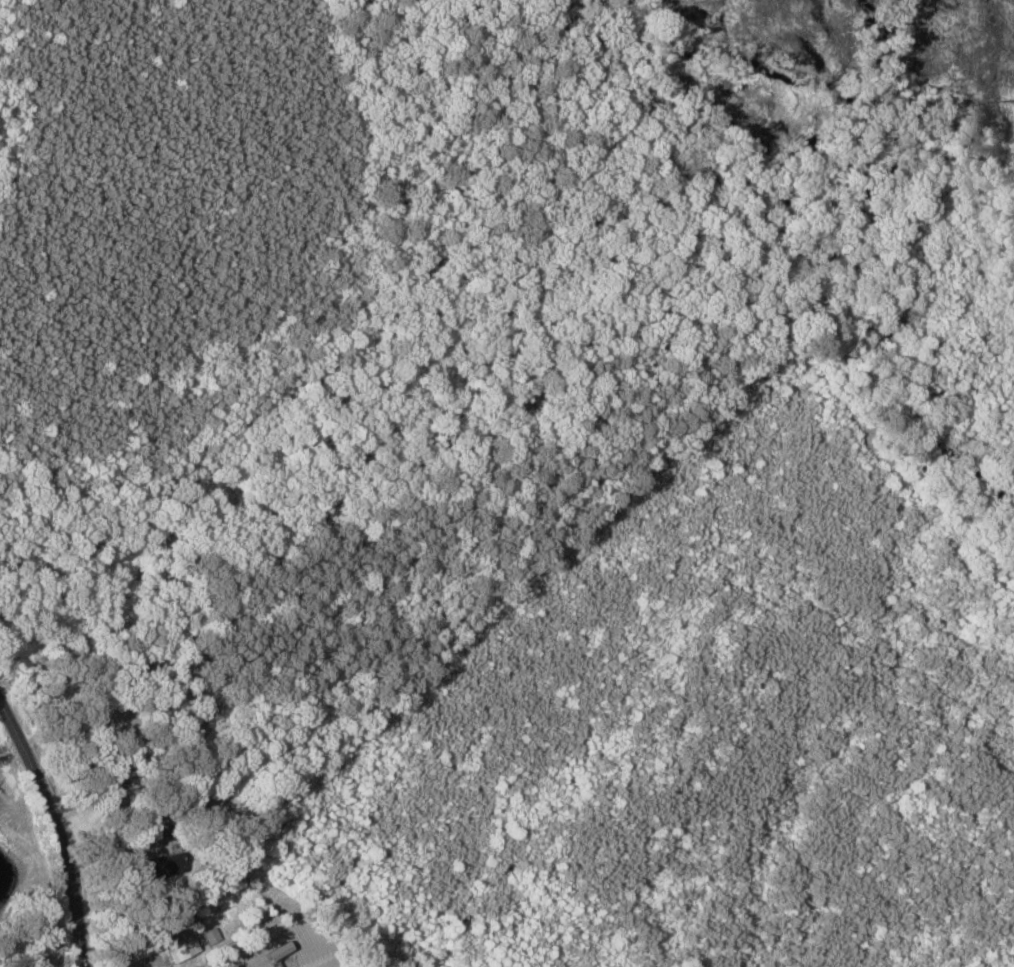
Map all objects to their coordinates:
road: (61, 825)
building: (165, 865)
building: (184, 950)
road: (226, 966)

